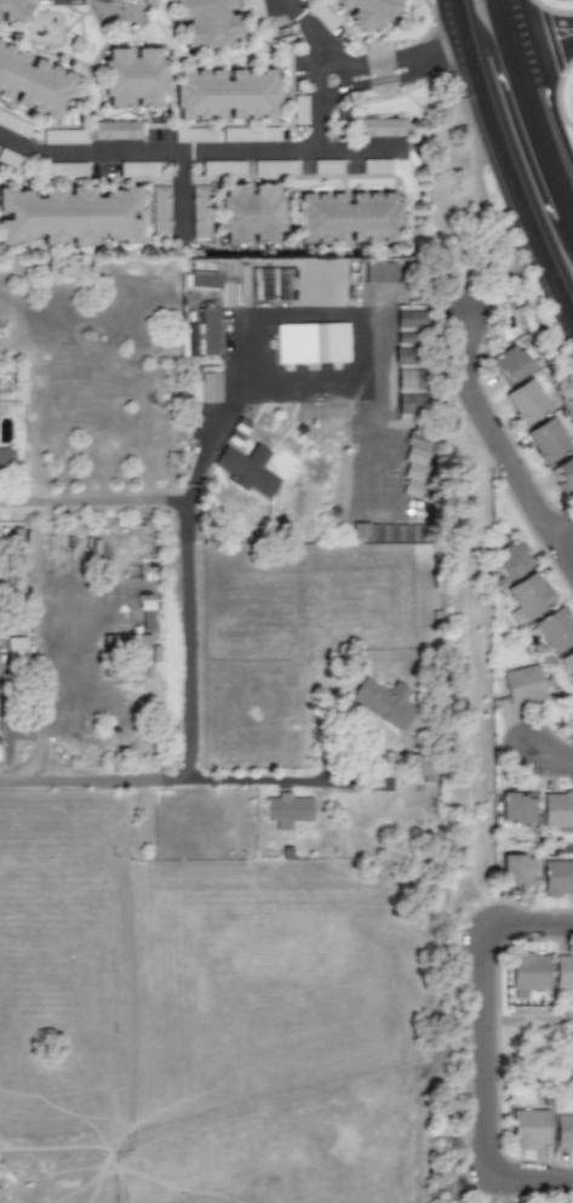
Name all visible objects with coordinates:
building: (130, 1)
building: (256, 8)
building: (16, 13)
building: (367, 13)
building: (323, 17)
building: (216, 25)
road: (545, 45)
road: (396, 69)
building: (139, 82)
building: (36, 86)
road: (558, 95)
building: (231, 98)
street lamp: (459, 99)
road: (321, 101)
building: (300, 108)
road: (535, 108)
road: (525, 121)
building: (15, 124)
building: (380, 126)
building: (116, 129)
building: (196, 133)
building: (251, 133)
building: (65, 136)
road: (157, 153)
building: (12, 159)
building: (377, 165)
building: (328, 166)
building: (223, 167)
building: (275, 167)
building: (65, 169)
building: (141, 169)
road: (499, 173)
building: (161, 210)
building: (200, 211)
building: (248, 219)
building: (75, 222)
building: (346, 223)
building: (219, 269)
building: (211, 278)
building: (270, 284)
street lamp: (443, 302)
road: (297, 315)
building: (210, 330)
building: (408, 337)
building: (311, 342)
building: (509, 364)
building: (210, 386)
building: (409, 394)
building: (527, 400)
street lamp: (464, 420)
building: (237, 431)
road: (491, 434)
building: (548, 439)
building: (6, 458)
building: (247, 469)
building: (413, 471)
building: (563, 473)
street lamp: (554, 506)
building: (385, 532)
road: (563, 535)
building: (30, 551)
road: (563, 555)
building: (510, 559)
building: (528, 597)
building: (554, 629)
road: (190, 637)
road: (68, 645)
building: (16, 646)
building: (568, 663)
building: (523, 684)
building: (383, 701)
road: (550, 758)
road: (282, 779)
street lamp: (542, 779)
building: (516, 806)
building: (287, 808)
building: (557, 810)
building: (516, 871)
building: (557, 877)
street lamp: (458, 942)
building: (563, 970)
building: (528, 973)
road: (483, 1050)
street lamp: (503, 1062)
building: (529, 1127)
building: (563, 1131)
street lamp: (494, 1202)

